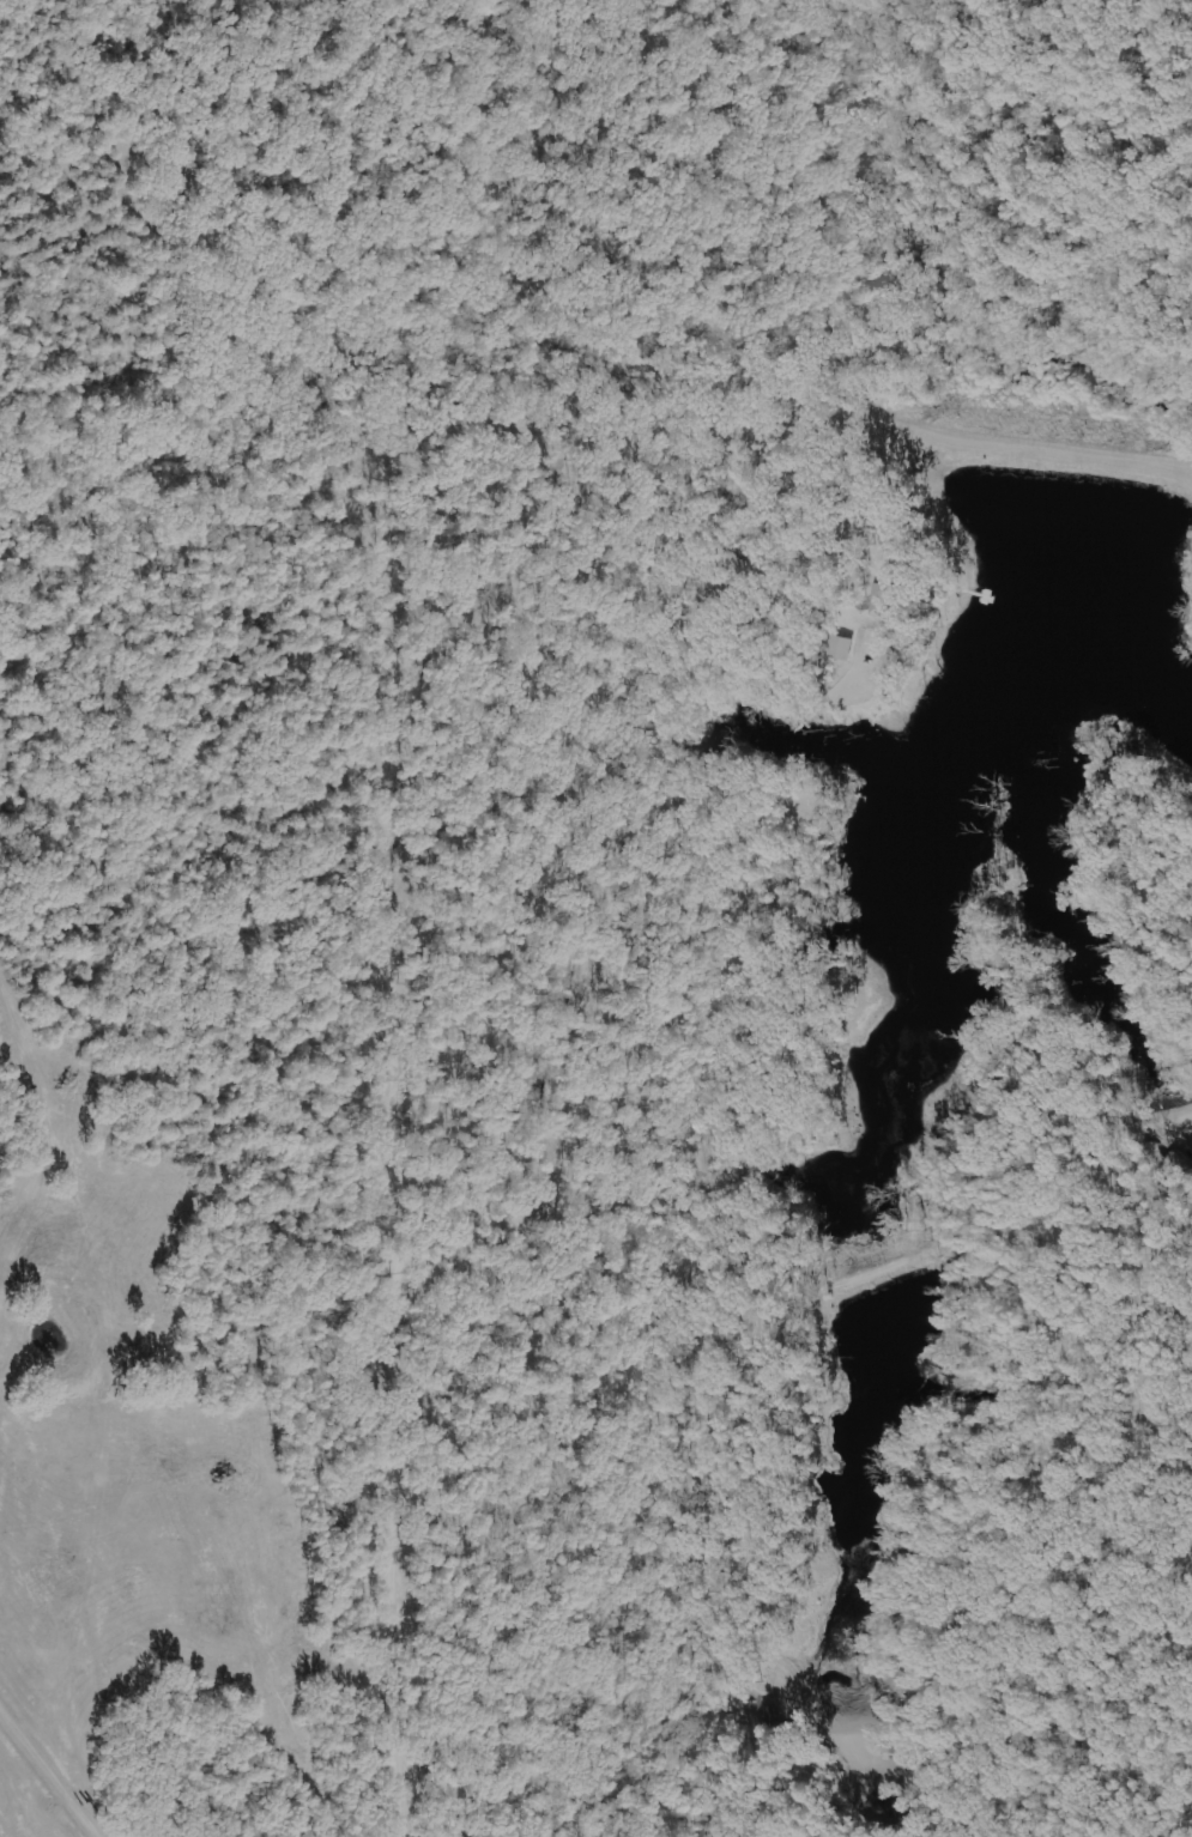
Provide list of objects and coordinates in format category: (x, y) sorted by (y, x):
building: (885, 598)

